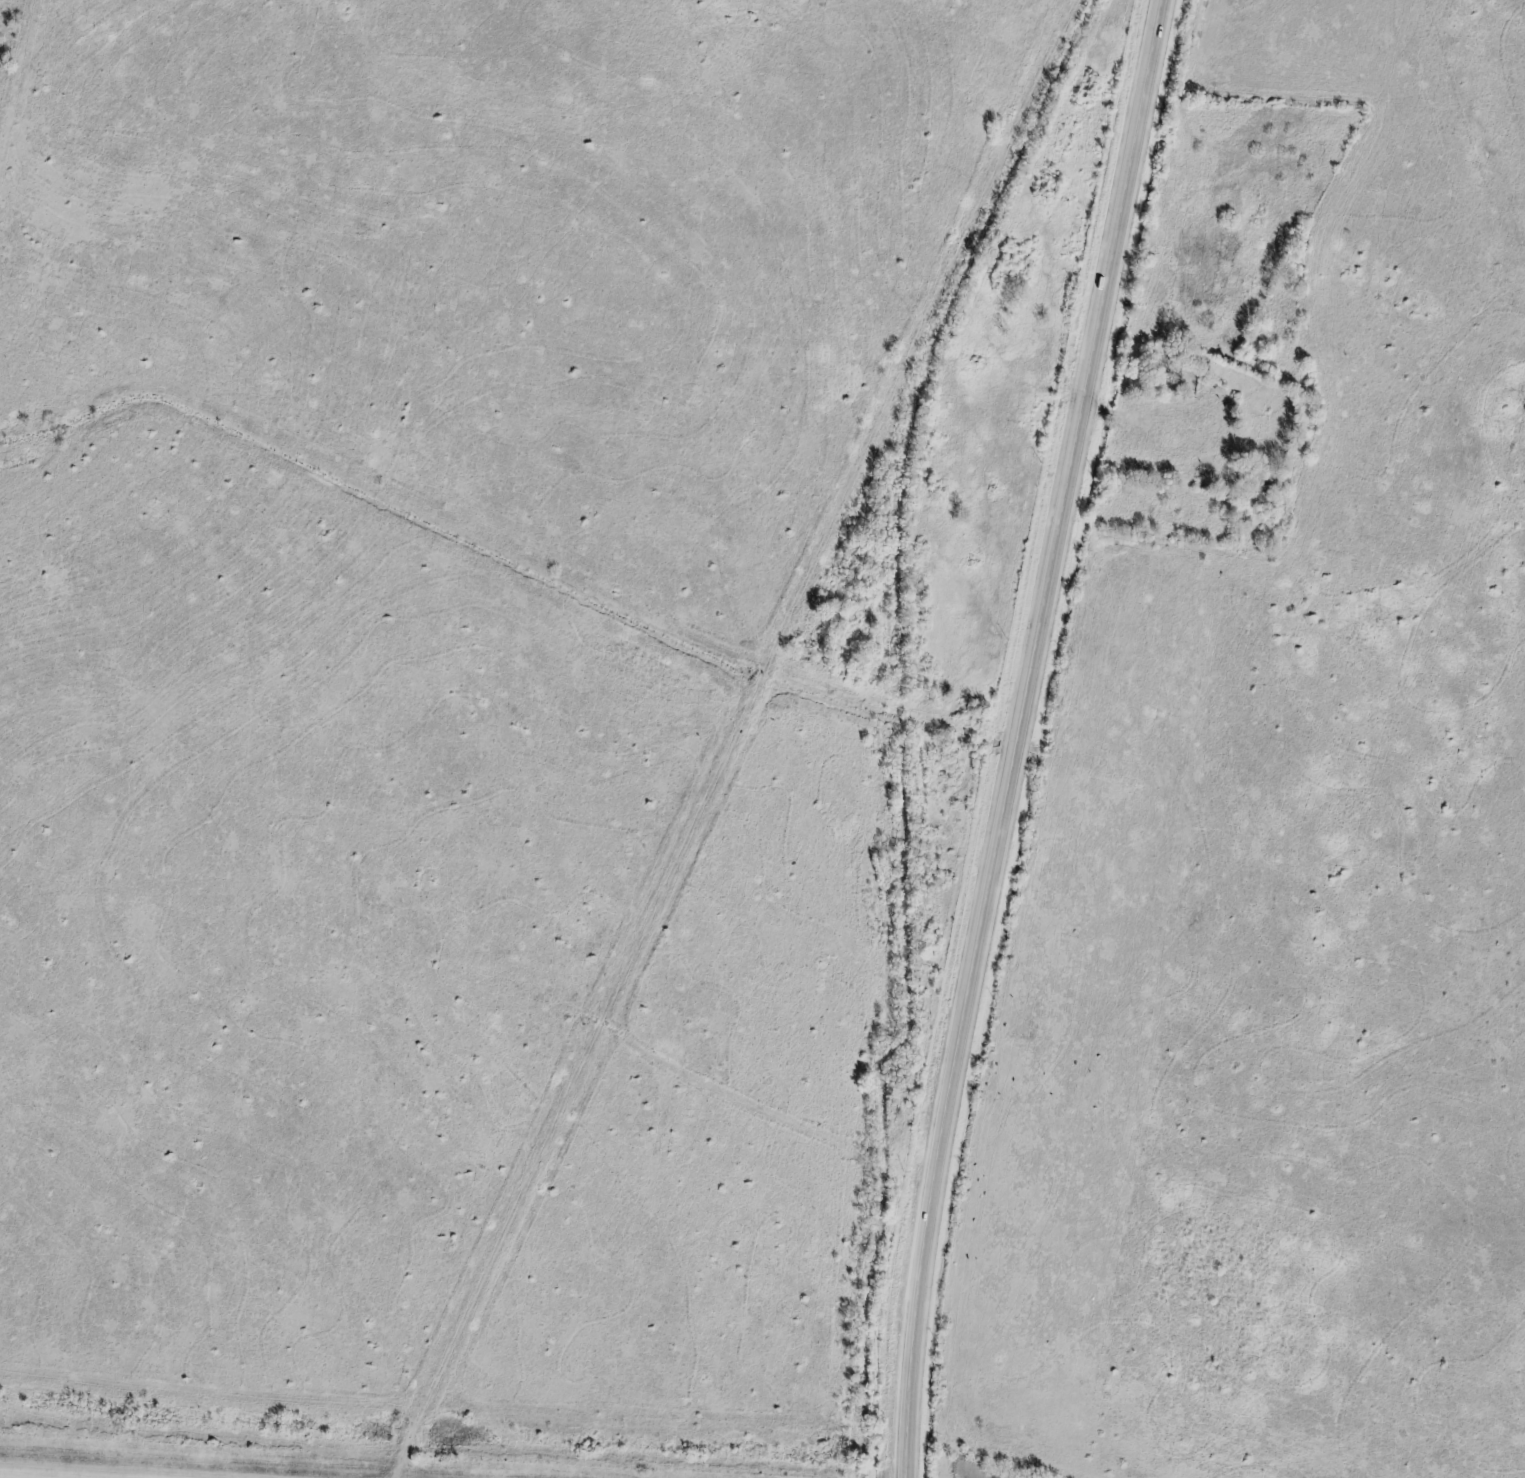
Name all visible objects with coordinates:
road: (1016, 737)
road: (115, 1473)

